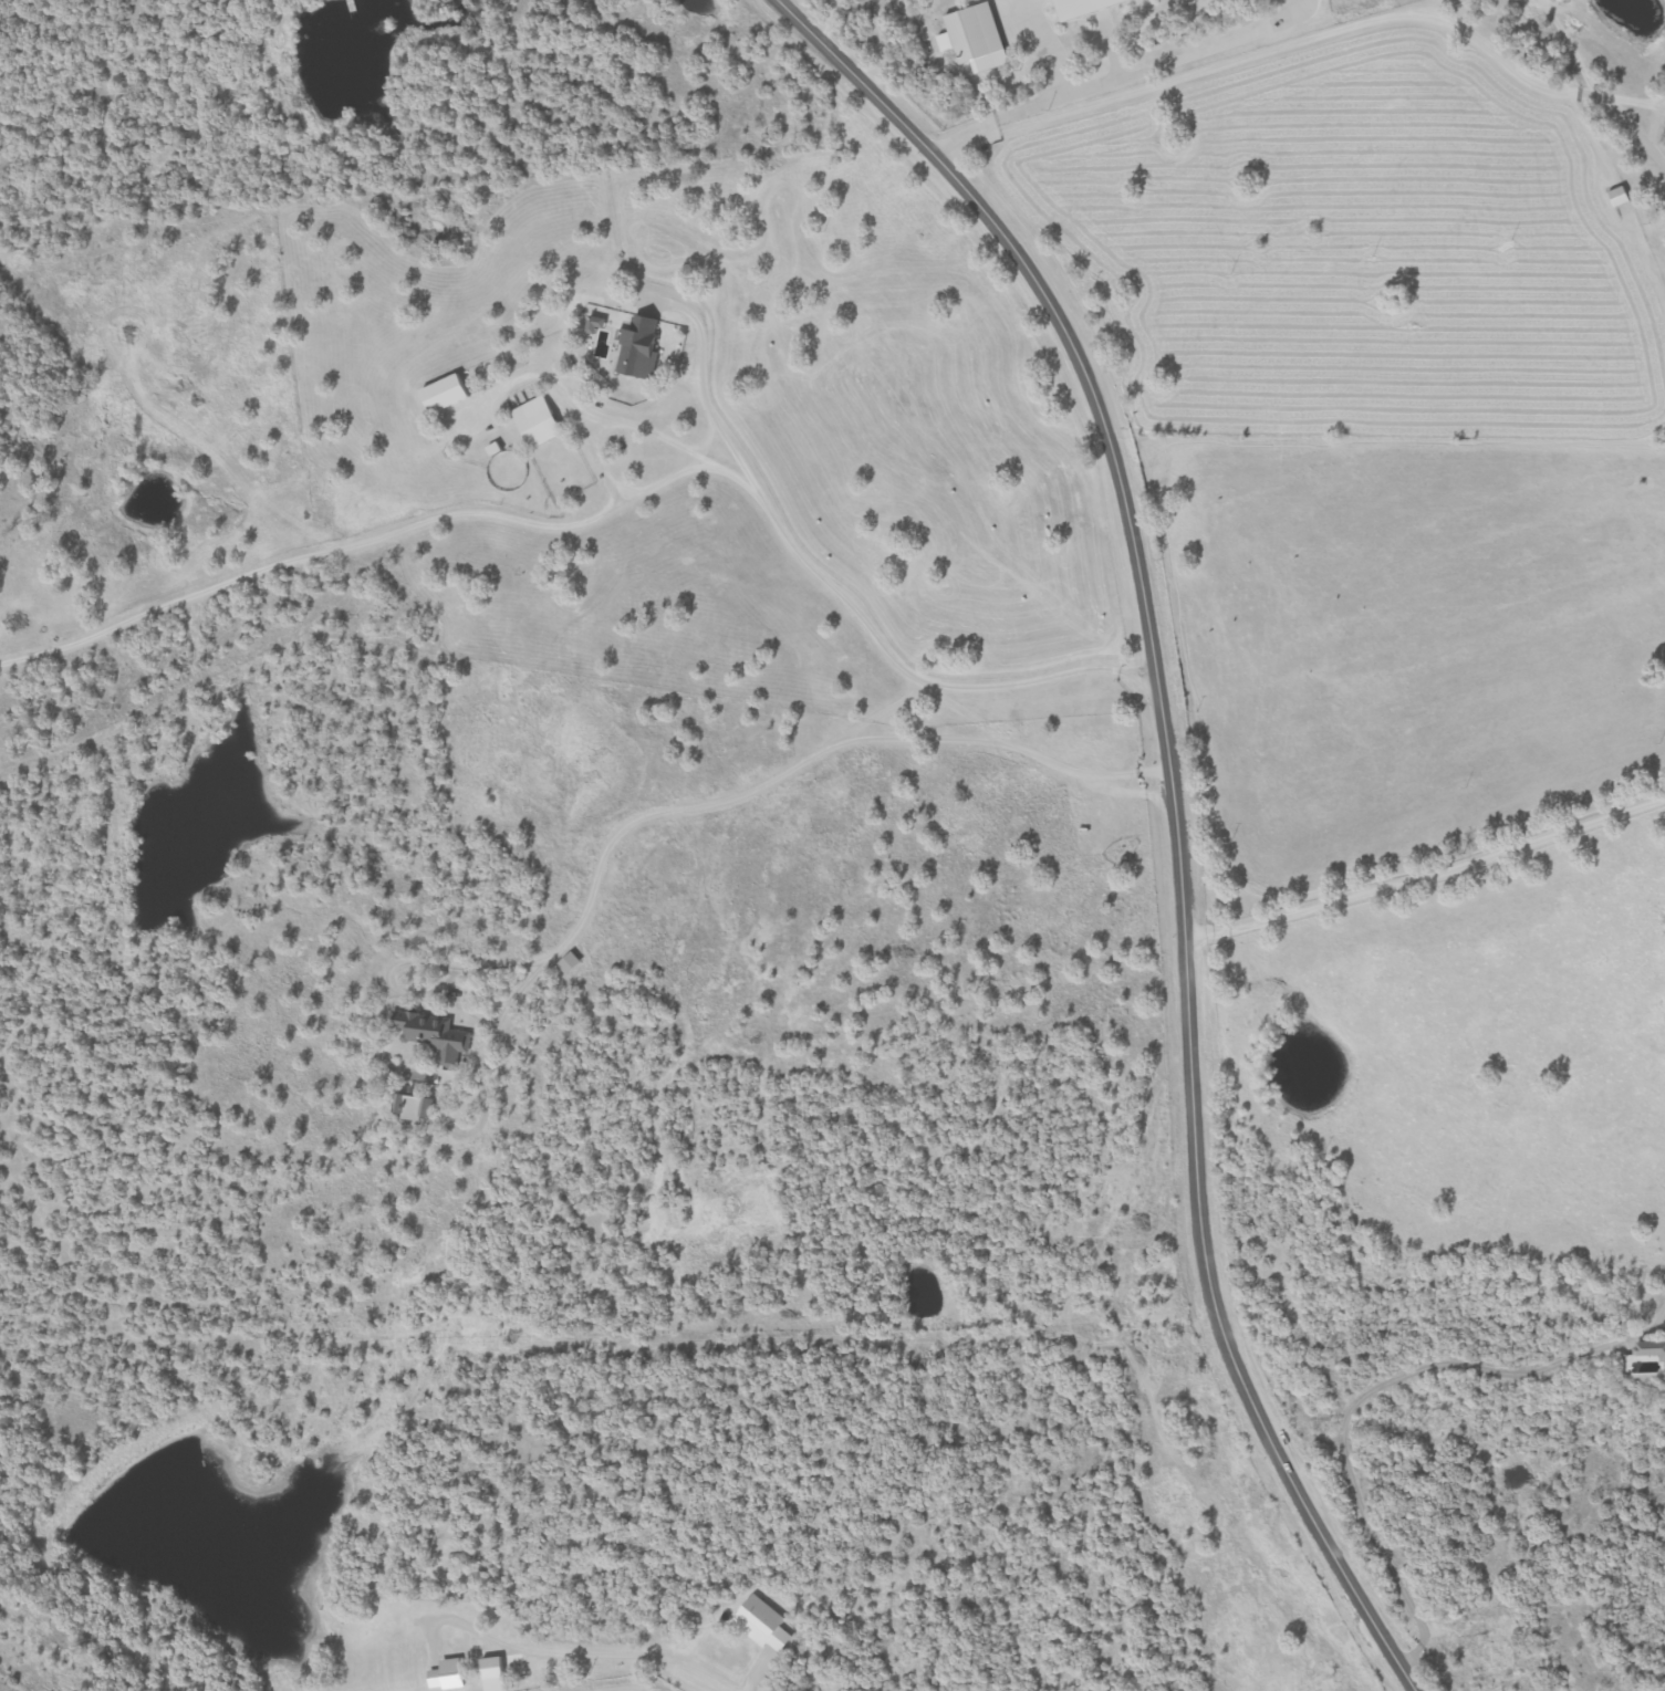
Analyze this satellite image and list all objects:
building: (1085, 7)
road: (828, 18)
building: (972, 33)
road: (1045, 48)
road: (1189, 58)
road: (1176, 77)
road: (1563, 77)
road: (1021, 111)
building: (642, 346)
building: (447, 393)
road: (696, 397)
building: (539, 421)
road: (404, 530)
road: (826, 583)
road: (789, 768)
road: (1176, 811)
road: (1427, 873)
building: (431, 1034)
building: (410, 1107)
building: (1653, 1348)
road: (555, 1651)

